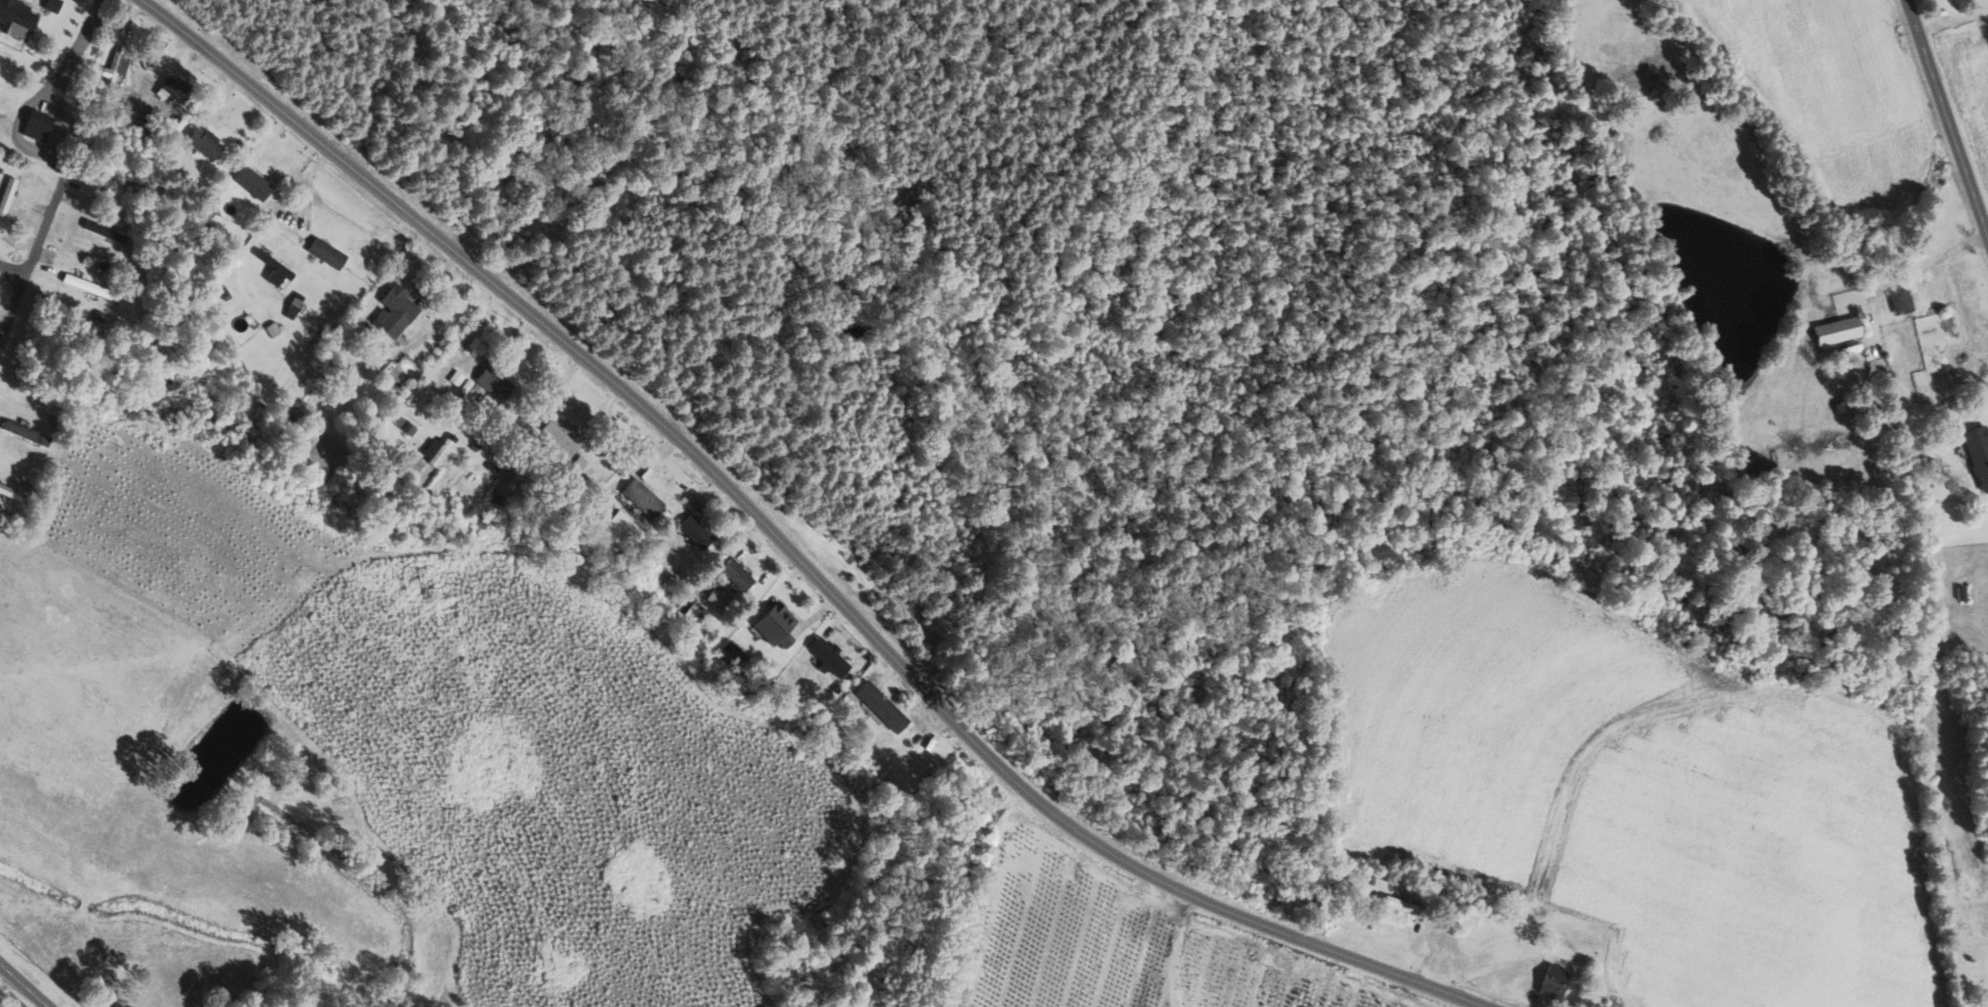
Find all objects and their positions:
building: (52, 5)
road: (1948, 17)
building: (15, 18)
road: (79, 44)
building: (171, 87)
building: (37, 126)
road: (1944, 129)
building: (204, 142)
building: (252, 182)
building: (7, 195)
road: (339, 215)
road: (42, 231)
building: (104, 231)
building: (326, 253)
road: (1925, 260)
building: (274, 268)
road: (19, 292)
building: (1900, 302)
building: (394, 312)
building: (1837, 330)
road: (357, 352)
building: (398, 371)
building: (494, 383)
building: (300, 411)
building: (405, 426)
building: (560, 438)
building: (1978, 453)
building: (412, 464)
building: (582, 472)
building: (506, 483)
building: (642, 498)
building: (620, 532)
building: (696, 532)
road: (778, 546)
building: (736, 573)
building: (775, 623)
building: (828, 656)
building: (881, 705)
building: (1553, 981)
road: (19, 989)

